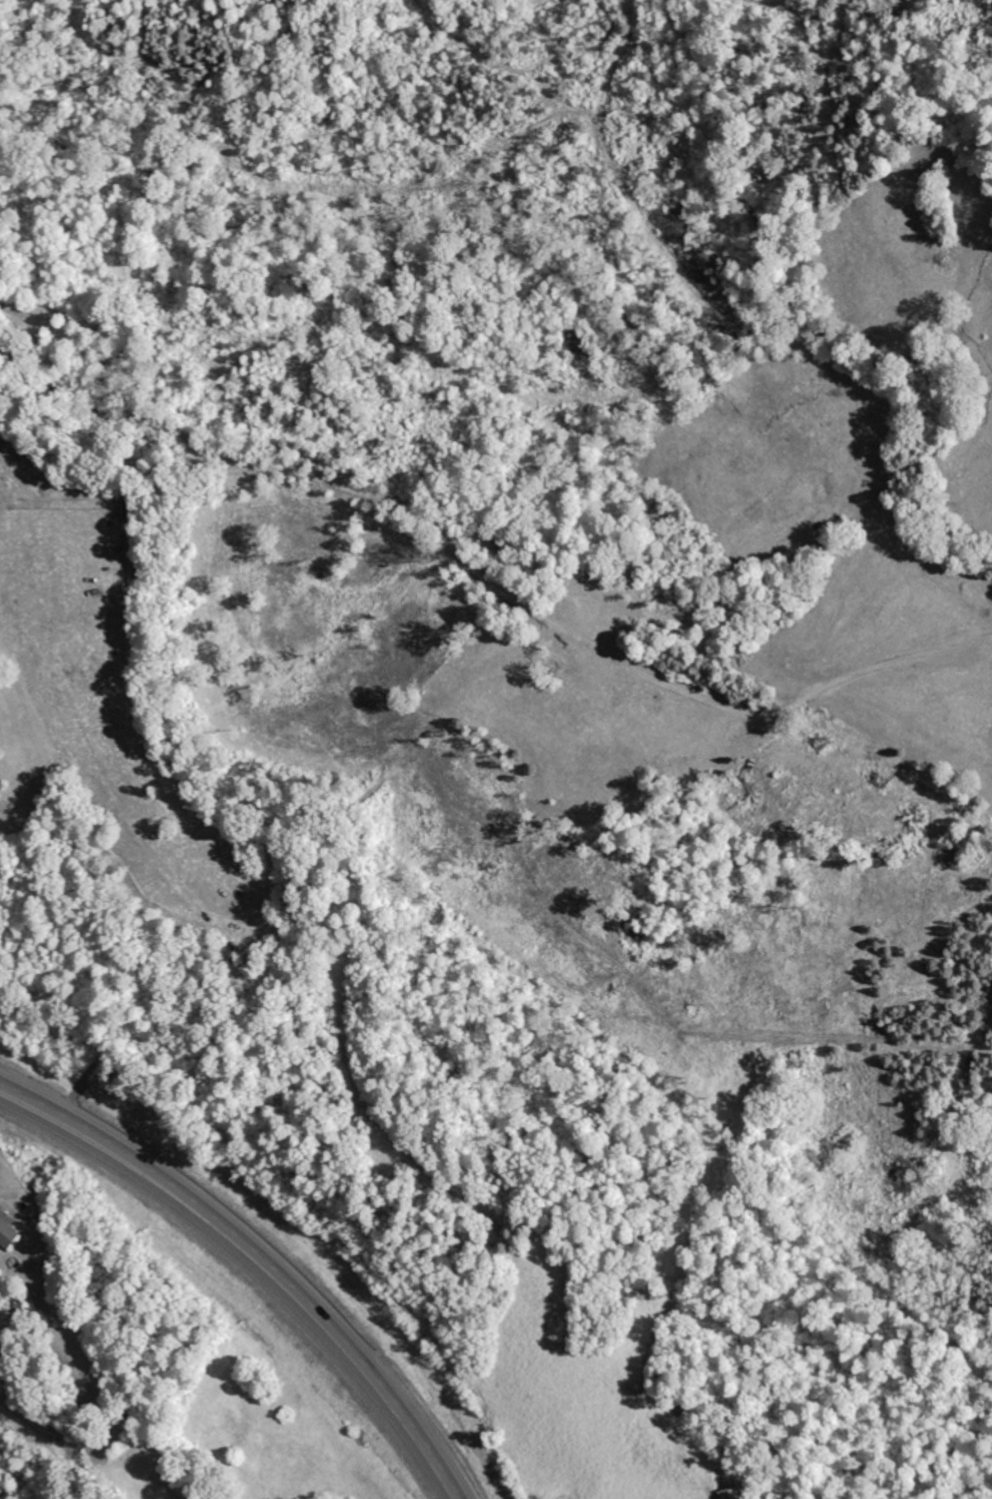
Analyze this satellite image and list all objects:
road: (198, 428)
building: (8, 1234)
road: (256, 1262)
building: (733, 1493)

